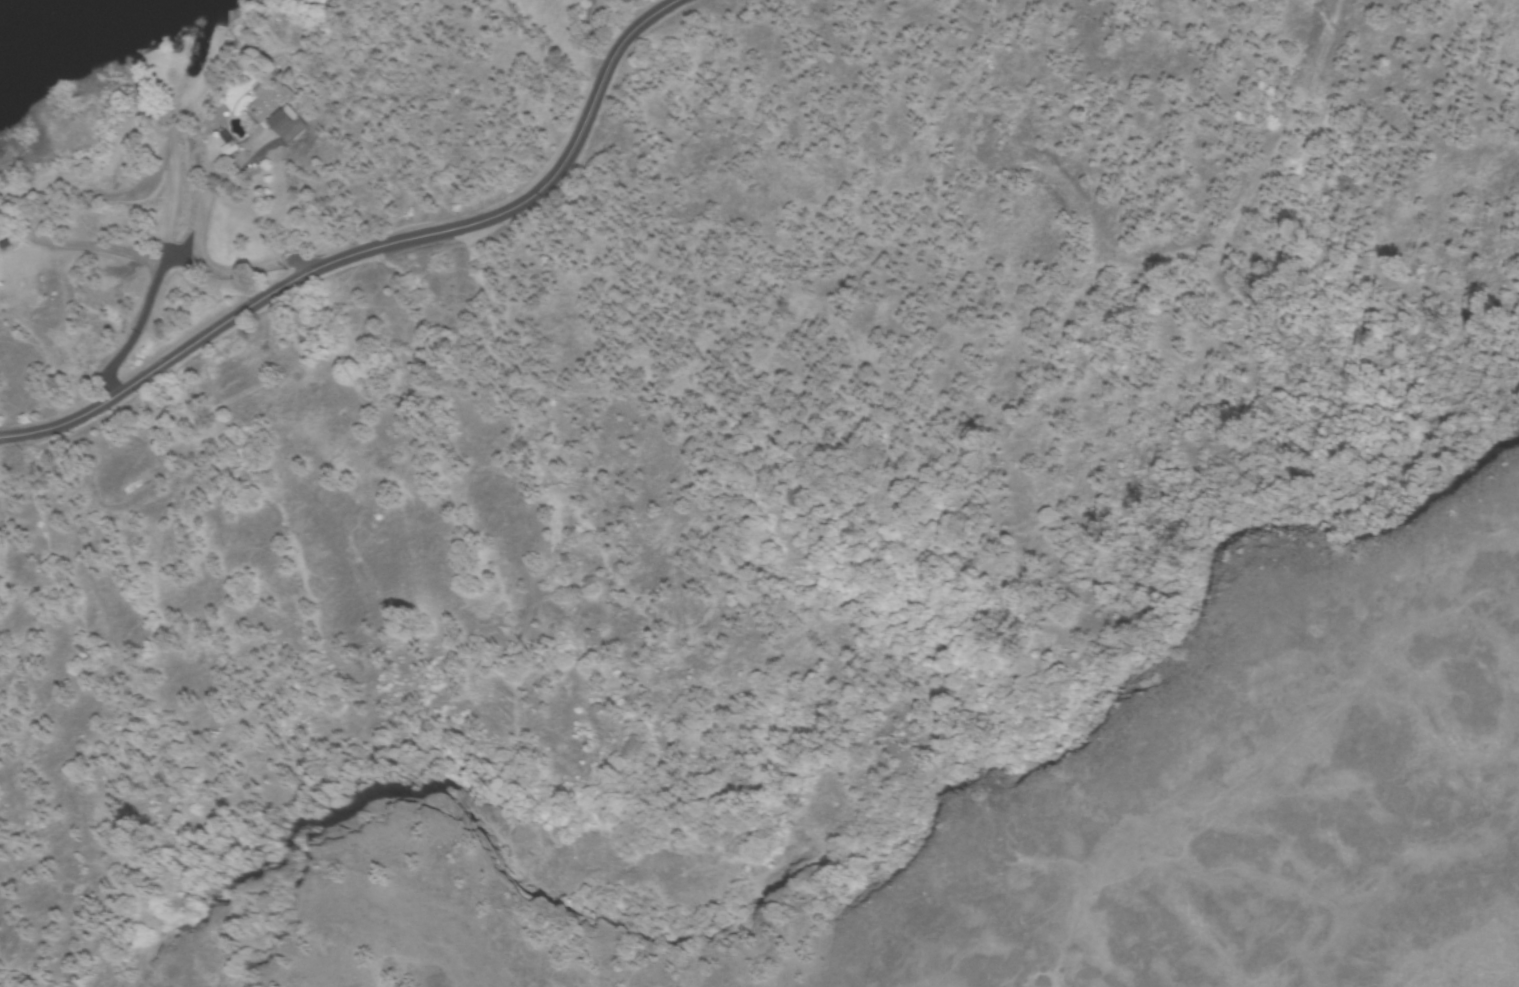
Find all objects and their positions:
building: (268, 110)
building: (287, 126)
road: (26, 238)
road: (164, 253)
building: (2, 254)
road: (380, 259)
road: (207, 288)
building: (564, 595)

